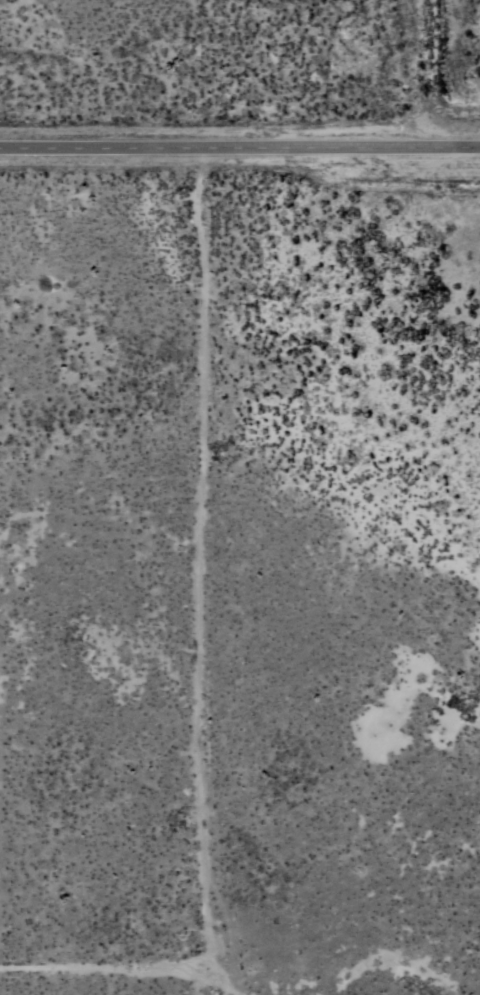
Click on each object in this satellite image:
road: (240, 147)

